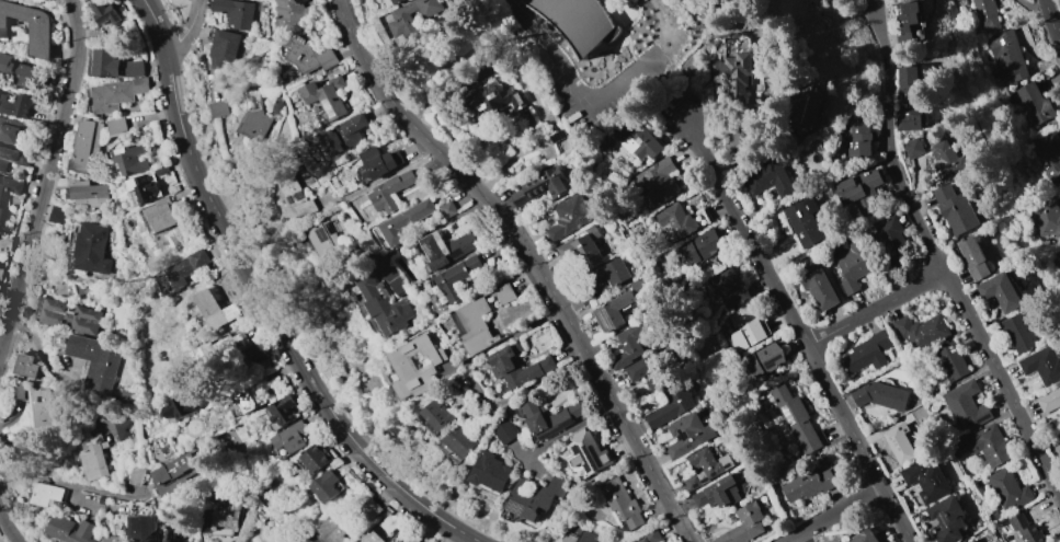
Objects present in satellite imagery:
building: (453, 0)
building: (395, 1)
building: (105, 12)
building: (235, 12)
building: (290, 12)
building: (985, 15)
building: (411, 16)
building: (580, 20)
building: (908, 21)
road: (1051, 24)
road: (186, 28)
building: (39, 30)
road: (510, 37)
building: (224, 48)
building: (308, 55)
building: (1007, 56)
building: (239, 57)
road: (661, 64)
building: (115, 65)
building: (18, 71)
building: (733, 72)
road: (480, 74)
road: (572, 87)
building: (117, 93)
building: (327, 95)
building: (909, 100)
building: (490, 102)
building: (14, 104)
building: (1035, 104)
building: (219, 108)
building: (807, 108)
building: (257, 116)
building: (556, 117)
building: (117, 126)
building: (9, 130)
building: (743, 134)
building: (344, 135)
building: (558, 135)
building: (637, 139)
building: (858, 139)
building: (87, 142)
building: (912, 148)
building: (1048, 155)
building: (12, 157)
building: (130, 159)
building: (947, 159)
building: (379, 161)
building: (162, 169)
road: (46, 172)
building: (767, 178)
building: (656, 182)
building: (540, 185)
building: (144, 187)
building: (86, 189)
building: (298, 189)
building: (860, 189)
building: (390, 191)
building: (1, 201)
building: (447, 209)
building: (956, 209)
building: (161, 214)
building: (56, 215)
building: (570, 216)
building: (675, 220)
building: (805, 220)
building: (1047, 220)
building: (404, 223)
building: (891, 233)
building: (2, 244)
building: (331, 246)
building: (700, 246)
building: (91, 247)
building: (445, 247)
building: (582, 249)
building: (1058, 253)
building: (973, 257)
road: (534, 258)
road: (943, 263)
building: (852, 265)
building: (180, 270)
building: (611, 274)
building: (454, 279)
building: (398, 287)
building: (729, 287)
building: (818, 287)
building: (1001, 291)
building: (504, 293)
building: (589, 297)
road: (269, 300)
building: (383, 304)
building: (215, 309)
road: (880, 309)
building: (613, 311)
road: (298, 313)
building: (71, 315)
building: (476, 326)
building: (744, 328)
road: (802, 328)
building: (920, 331)
building: (1016, 332)
road: (504, 339)
building: (629, 344)
building: (218, 349)
building: (866, 353)
building: (258, 354)
building: (95, 359)
building: (764, 359)
building: (501, 361)
building: (951, 361)
building: (400, 362)
building: (1042, 365)
building: (27, 366)
building: (648, 370)
building: (880, 395)
building: (250, 397)
building: (1049, 400)
building: (671, 404)
building: (966, 405)
building: (176, 406)
building: (42, 407)
building: (283, 410)
building: (437, 414)
building: (549, 417)
building: (923, 417)
building: (797, 418)
road: (571, 428)
building: (124, 429)
building: (504, 431)
building: (686, 435)
building: (292, 437)
building: (459, 441)
building: (900, 442)
building: (990, 445)
building: (588, 452)
building: (317, 457)
building: (94, 461)
building: (705, 466)
building: (176, 471)
building: (491, 472)
building: (136, 475)
building: (926, 478)
road: (68, 483)
building: (808, 484)
building: (326, 485)
building: (1007, 488)
building: (46, 493)
building: (717, 493)
building: (535, 497)
building: (622, 501)
building: (373, 506)
road: (837, 515)
building: (220, 516)
building: (947, 519)
building: (140, 523)
building: (389, 523)
building: (743, 524)
road: (8, 528)
building: (71, 529)
building: (331, 529)
building: (1026, 529)
building: (170, 535)
building: (591, 537)
building: (652, 537)
road: (809, 537)
building: (864, 537)
building: (371, 538)
building: (113, 539)
building: (413, 539)
building: (840, 541)
building: (965, 541)

